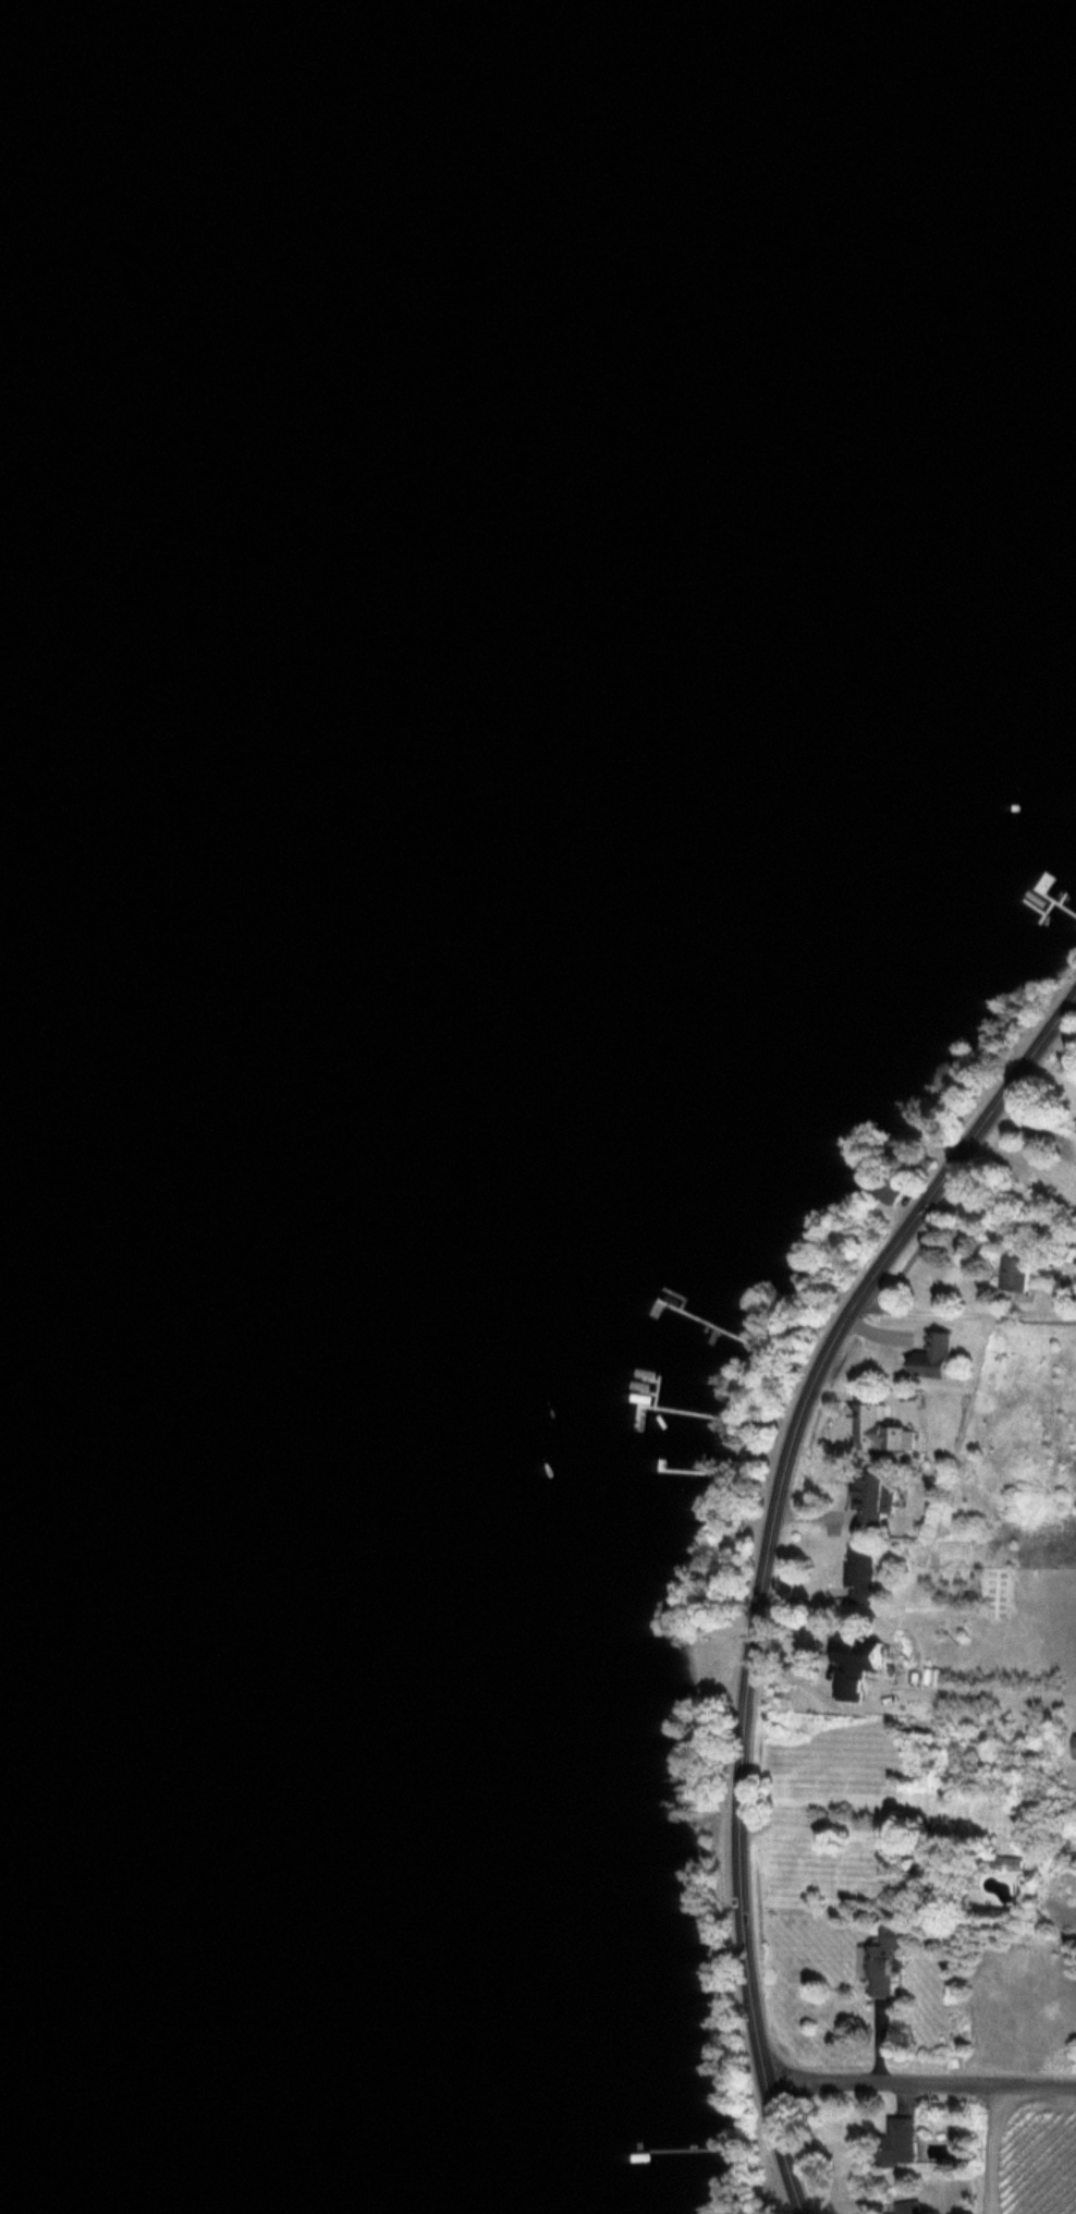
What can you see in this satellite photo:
building: (1075, 1120)
building: (919, 1161)
building: (889, 1187)
building: (1014, 1273)
building: (933, 1355)
park: (1017, 1452)
building: (872, 1497)
road: (767, 1565)
building: (860, 1573)
building: (858, 1653)
building: (1073, 1747)
park: (1071, 1792)
building: (937, 1878)
building: (883, 1960)
road: (920, 2081)
building: (894, 2142)
road: (990, 2148)
building: (907, 2207)

